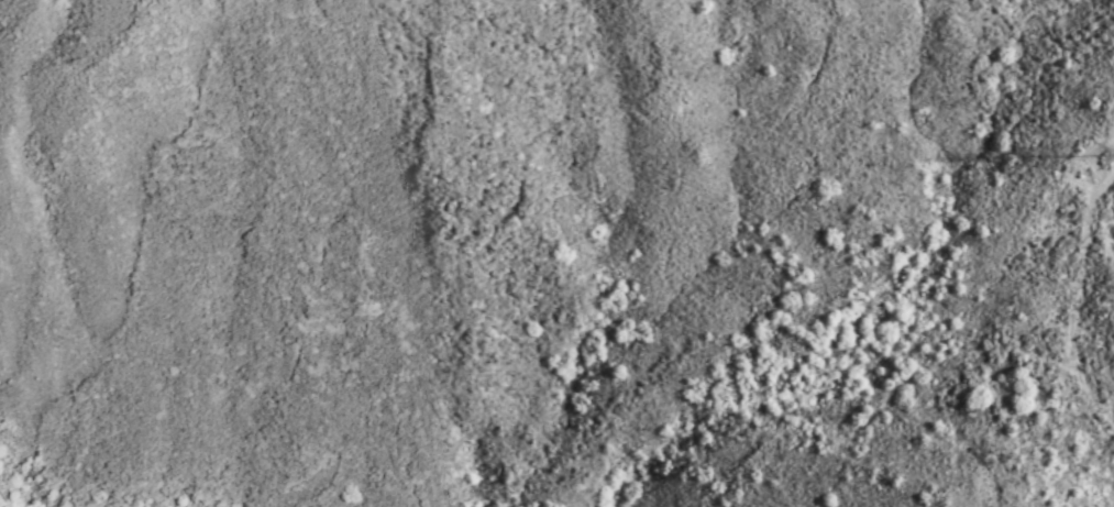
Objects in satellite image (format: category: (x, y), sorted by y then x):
power tower: (1082, 156)

